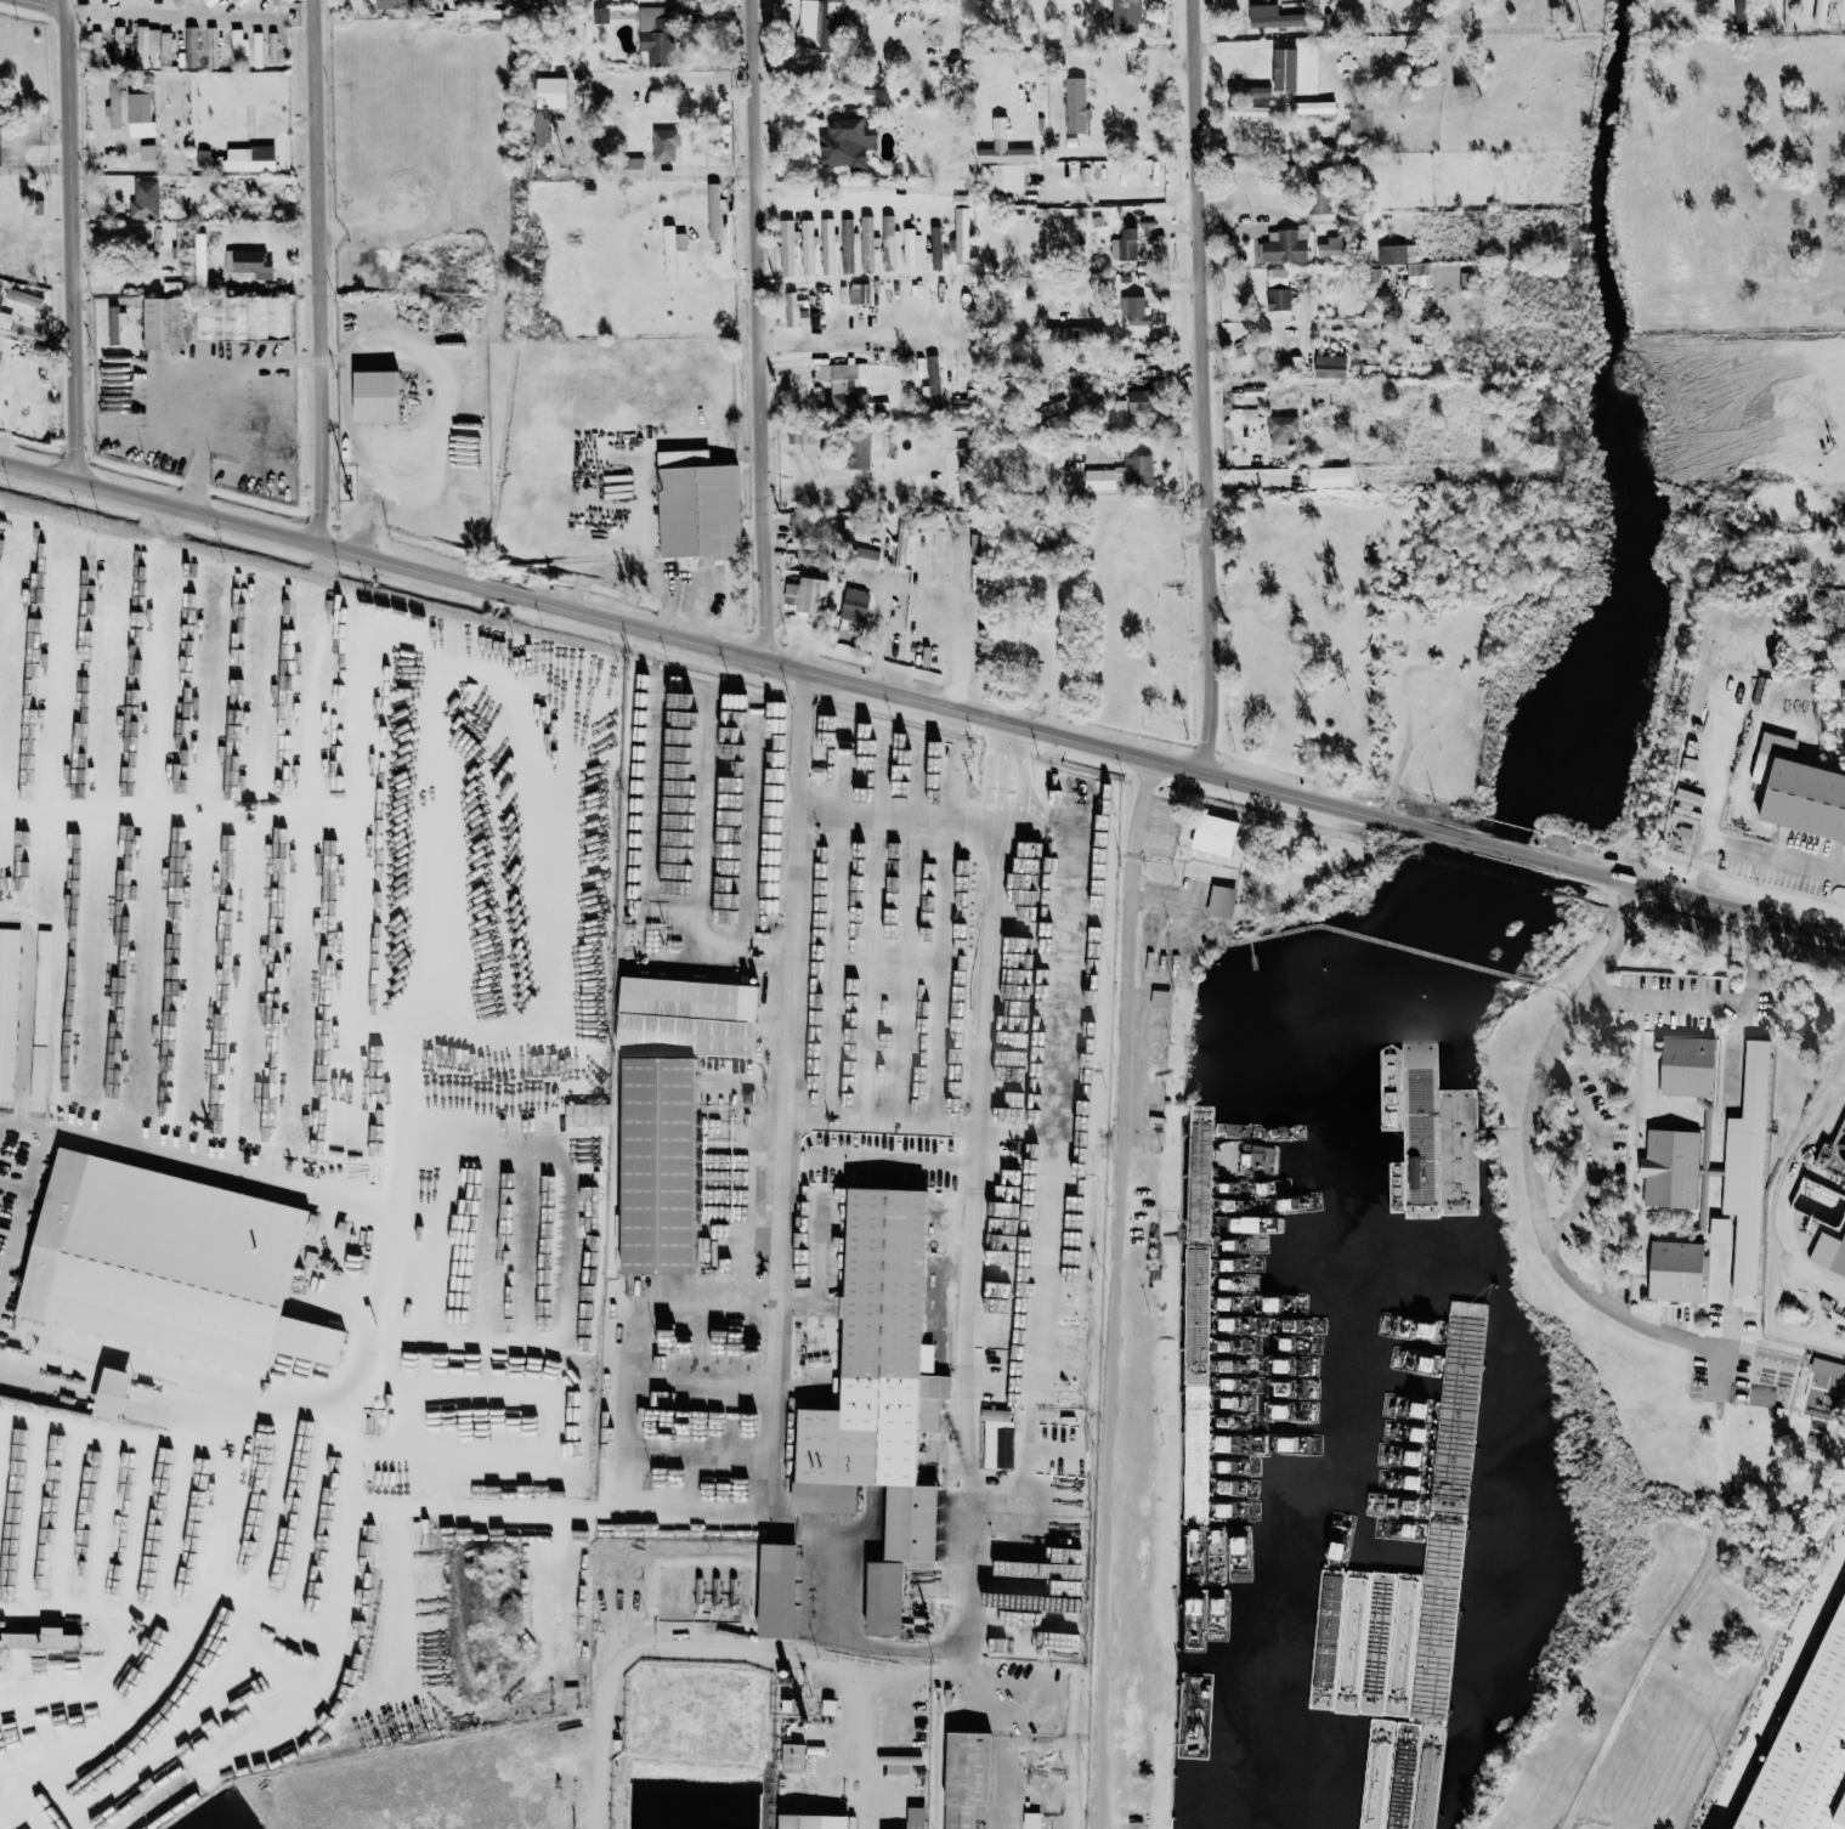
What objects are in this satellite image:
building: (245, 0)
building: (680, 0)
building: (179, 2)
building: (209, 2)
road: (50, 4)
building: (402, 4)
building: (544, 7)
road: (171, 12)
building: (1821, 12)
building: (600, 13)
building: (1125, 15)
building: (1272, 16)
building: (1741, 16)
building: (819, 33)
building: (655, 34)
building: (119, 43)
building: (146, 43)
building: (164, 43)
building: (96, 45)
building: (189, 47)
building: (1279, 69)
building: (933, 87)
building: (873, 95)
building: (113, 104)
building: (1075, 104)
building: (1317, 109)
building: (138, 114)
building: (545, 118)
building: (1360, 120)
building: (847, 142)
building: (664, 143)
building: (147, 152)
building: (249, 158)
building: (1352, 162)
building: (633, 168)
building: (1001, 169)
road: (1127, 194)
building: (143, 199)
road: (832, 199)
building: (713, 210)
building: (961, 231)
road: (70, 240)
building: (887, 242)
building: (866, 243)
building: (673, 244)
building: (1125, 244)
building: (827, 245)
building: (847, 245)
building: (1284, 245)
building: (787, 247)
building: (808, 247)
building: (935, 247)
building: (1334, 247)
building: (909, 248)
building: (199, 257)
building: (248, 262)
road: (317, 272)
building: (1420, 274)
building: (1277, 277)
building: (0, 288)
building: (859, 293)
building: (1278, 299)
building: (791, 308)
building: (1133, 308)
building: (243, 317)
building: (5, 319)
building: (163, 322)
building: (112, 324)
road: (1292, 324)
road: (757, 329)
road: (841, 339)
building: (1331, 362)
building: (932, 380)
road: (1200, 386)
building: (843, 390)
building: (375, 395)
road: (220, 398)
building: (1142, 401)
building: (879, 407)
road: (440, 412)
building: (1281, 432)
building: (804, 438)
building: (859, 451)
building: (1138, 469)
building: (1330, 476)
building: (1102, 479)
road: (845, 489)
building: (698, 505)
building: (1844, 509)
building: (928, 522)
building: (797, 525)
building: (901, 543)
building: (865, 557)
building: (808, 594)
building: (854, 604)
road: (881, 636)
road: (922, 698)
building: (1799, 791)
building: (1215, 834)
road: (1790, 860)
building: (1222, 901)
building: (1160, 998)
road: (1711, 1002)
building: (7, 1009)
building: (40, 1015)
building: (686, 1018)
road: (1730, 1051)
building: (1688, 1066)
road: (588, 1087)
building: (587, 1115)
building: (1437, 1139)
road: (1605, 1146)
road: (199, 1166)
building: (660, 1167)
building: (1671, 1168)
building: (1747, 1168)
road: (13, 1184)
road: (26, 1195)
road: (1784, 1208)
wastewater plant: (1809, 1223)
building: (1720, 1231)
road: (992, 1238)
building: (1829, 1253)
road: (780, 1255)
building: (84, 1264)
building: (1677, 1270)
road: (1111, 1292)
road: (630, 1337)
road: (1683, 1338)
building: (1417, 1359)
building: (1828, 1367)
road: (181, 1376)
building: (112, 1394)
building: (879, 1397)
building: (1823, 1397)
building: (1003, 1416)
road: (575, 1501)
building: (777, 1592)
building: (40, 1640)
road: (644, 1654)
building: (828, 1706)
building: (1810, 1743)
building: (793, 1759)
building: (904, 1760)
building: (966, 1778)
road: (266, 1793)
building: (647, 1812)
building: (916, 1817)
building: (1031, 1819)
building: (813, 1820)

